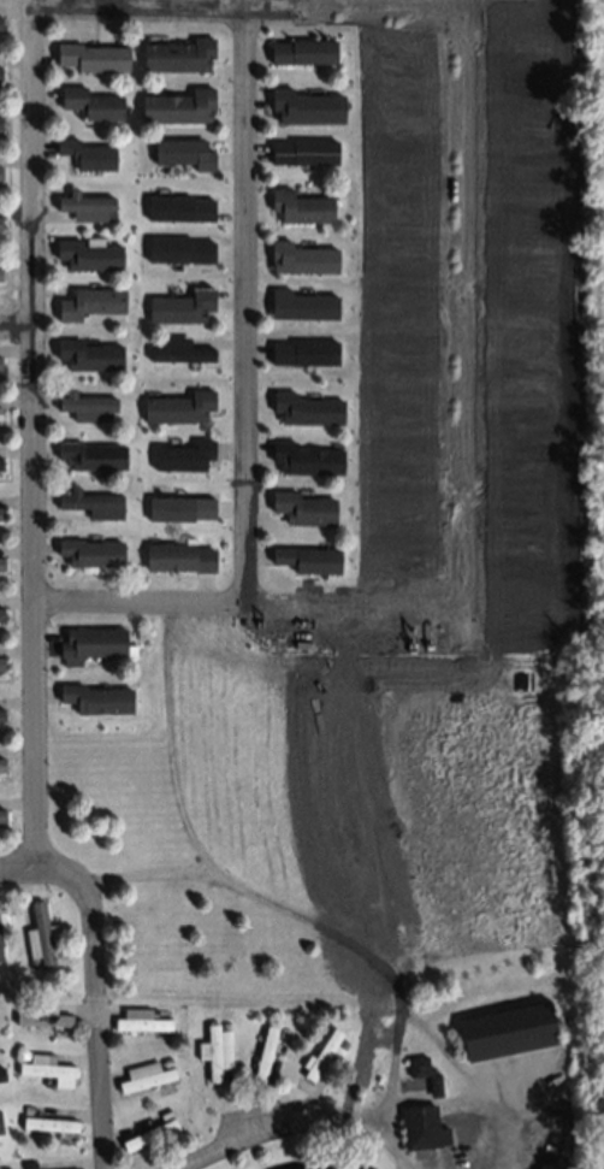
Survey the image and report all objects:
road: (159, 8)
building: (302, 49)
building: (178, 52)
building: (90, 55)
building: (90, 101)
building: (178, 104)
building: (306, 104)
building: (87, 152)
building: (84, 203)
building: (301, 205)
building: (107, 217)
building: (87, 254)
building: (302, 255)
building: (89, 301)
building: (302, 302)
building: (182, 305)
road: (245, 306)
road: (16, 324)
building: (87, 354)
building: (84, 403)
building: (179, 406)
building: (307, 407)
road: (31, 435)
building: (90, 454)
building: (306, 457)
building: (88, 498)
building: (303, 507)
building: (89, 550)
building: (178, 556)
building: (308, 559)
building: (0, 563)
road: (165, 601)
building: (91, 643)
building: (95, 698)
building: (0, 714)
road: (168, 745)
building: (0, 764)
building: (0, 814)
road: (43, 864)
road: (152, 875)
building: (40, 933)
building: (0, 944)
road: (374, 960)
building: (32, 962)
building: (19, 1005)
building: (41, 1014)
building: (138, 1019)
road: (100, 1022)
building: (224, 1025)
building: (505, 1028)
building: (283, 1032)
building: (342, 1044)
building: (214, 1050)
building: (263, 1052)
building: (322, 1053)
building: (23, 1055)
building: (166, 1061)
building: (46, 1067)
building: (422, 1071)
building: (142, 1074)
building: (1, 1076)
building: (25, 1109)
building: (162, 1114)
building: (48, 1122)
building: (1, 1124)
building: (421, 1126)
road: (274, 1127)
road: (498, 1127)
building: (147, 1133)
road: (396, 1147)
building: (26, 1164)

